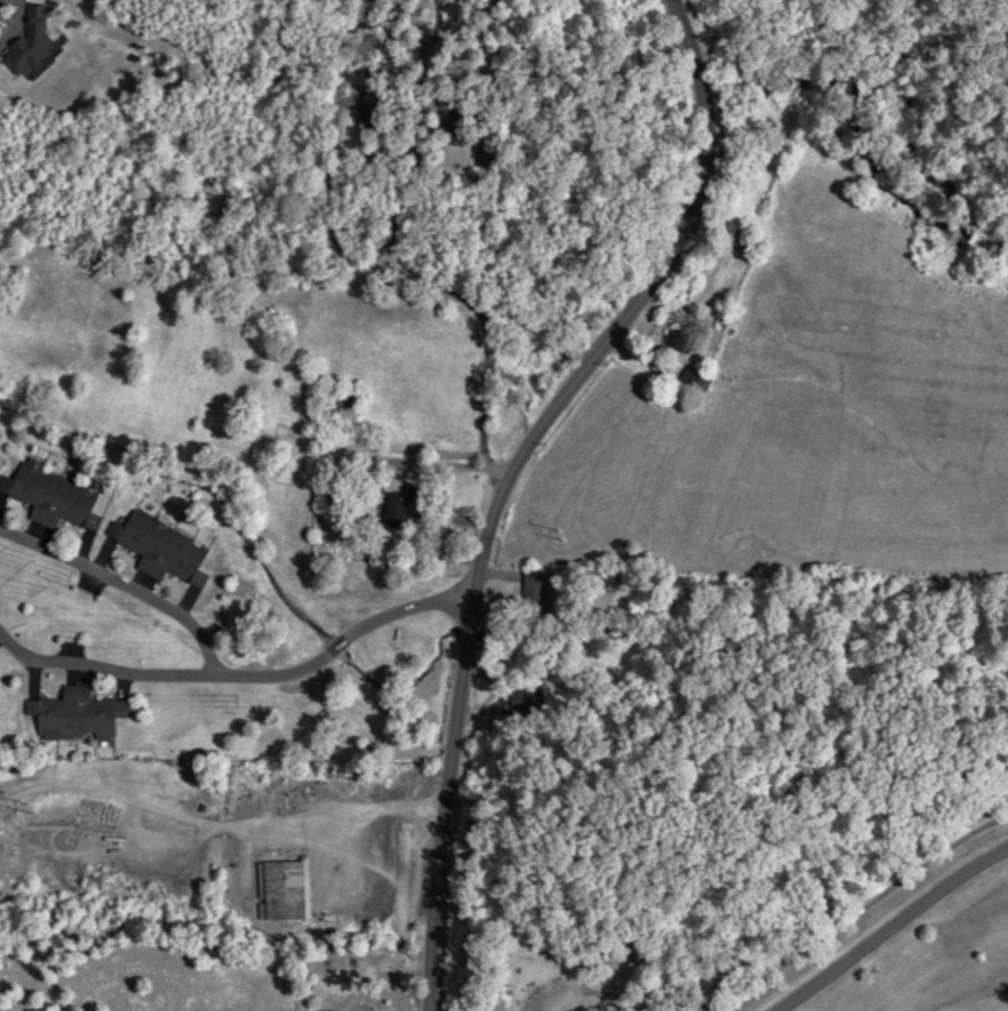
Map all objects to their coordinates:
building: (373, 113)
building: (453, 129)
building: (730, 235)
building: (676, 340)
road: (484, 375)
building: (690, 378)
building: (339, 403)
road: (506, 476)
building: (51, 497)
building: (395, 505)
building: (160, 549)
road: (122, 590)
building: (534, 594)
road: (239, 675)
building: (75, 716)
road: (218, 827)
building: (280, 892)
road: (842, 917)
park: (786, 920)
road: (886, 924)
building: (639, 950)
road: (582, 973)

